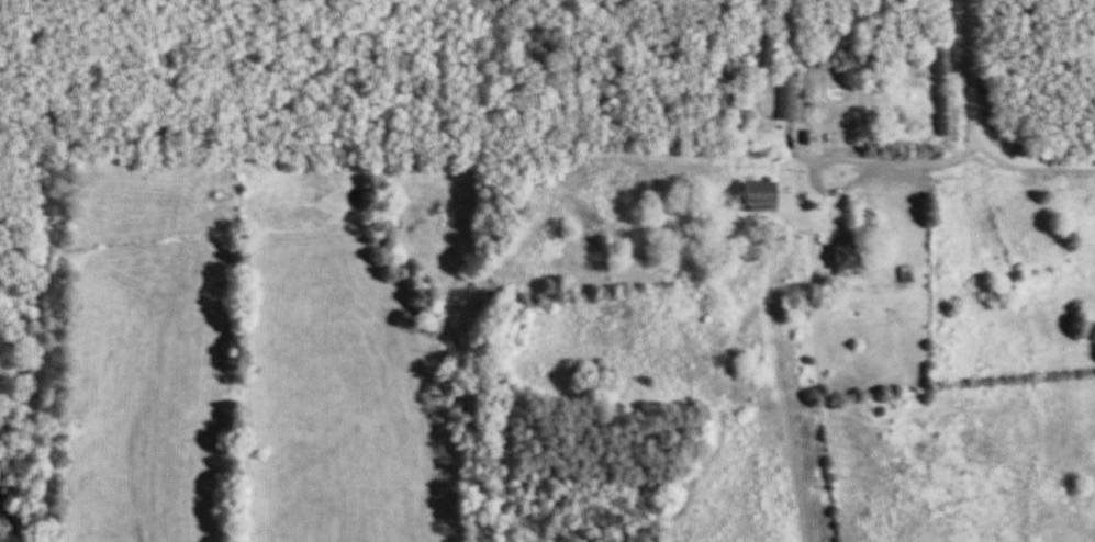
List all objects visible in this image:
road: (965, 77)
building: (786, 97)
road: (843, 158)
road: (1032, 166)
building: (755, 197)
building: (842, 260)

